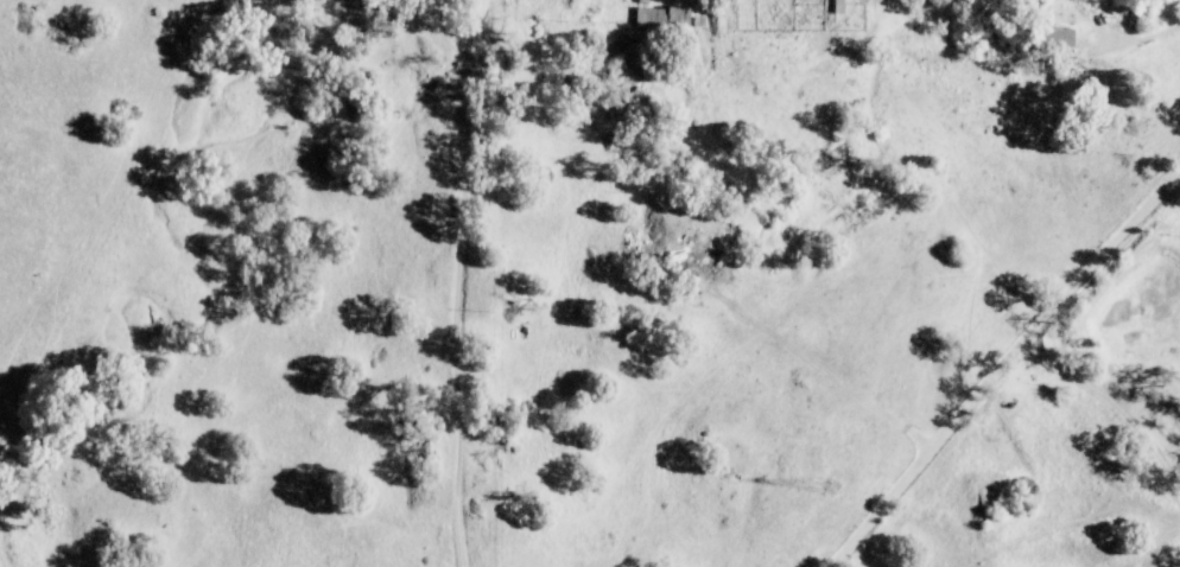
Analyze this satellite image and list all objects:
road: (1141, 36)
road: (996, 364)
road: (1106, 402)
power tower: (835, 480)

